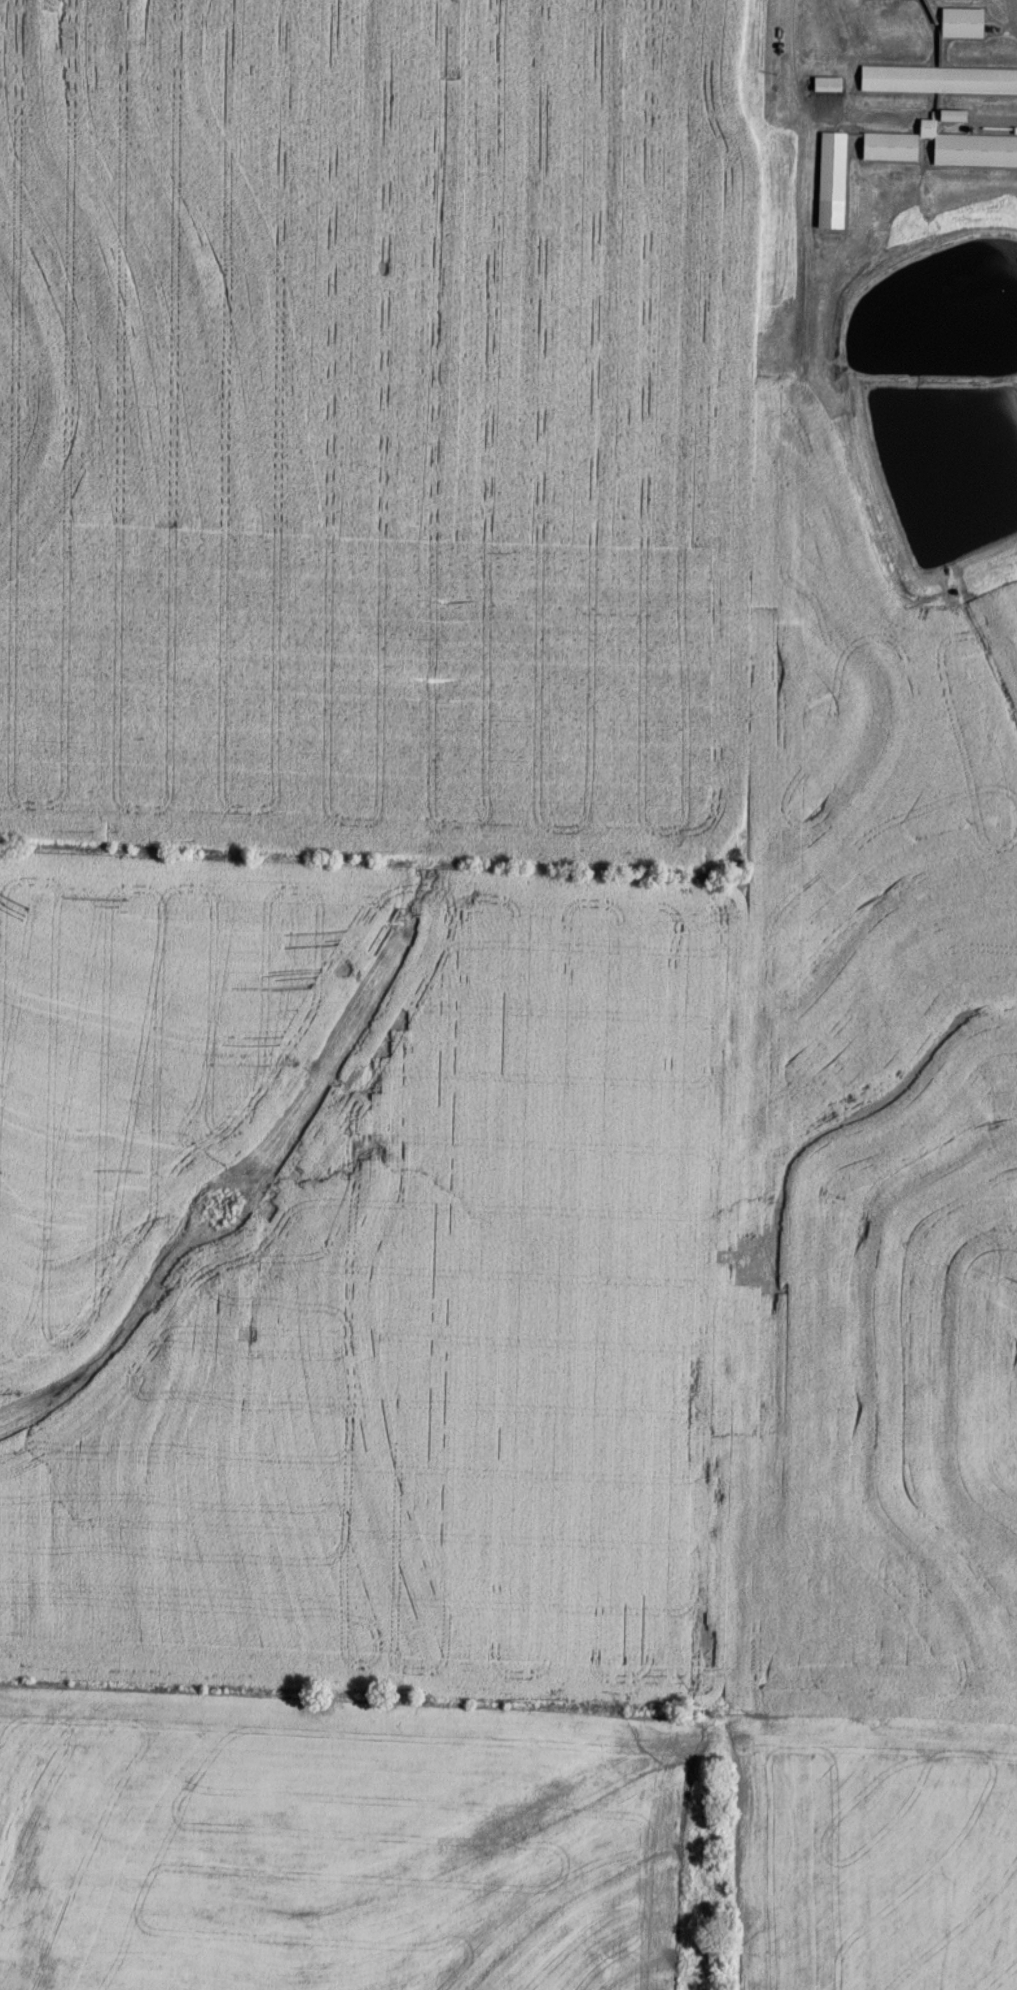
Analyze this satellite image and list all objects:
building: (941, 50)
building: (953, 114)
building: (893, 145)
building: (976, 149)
building: (836, 165)

